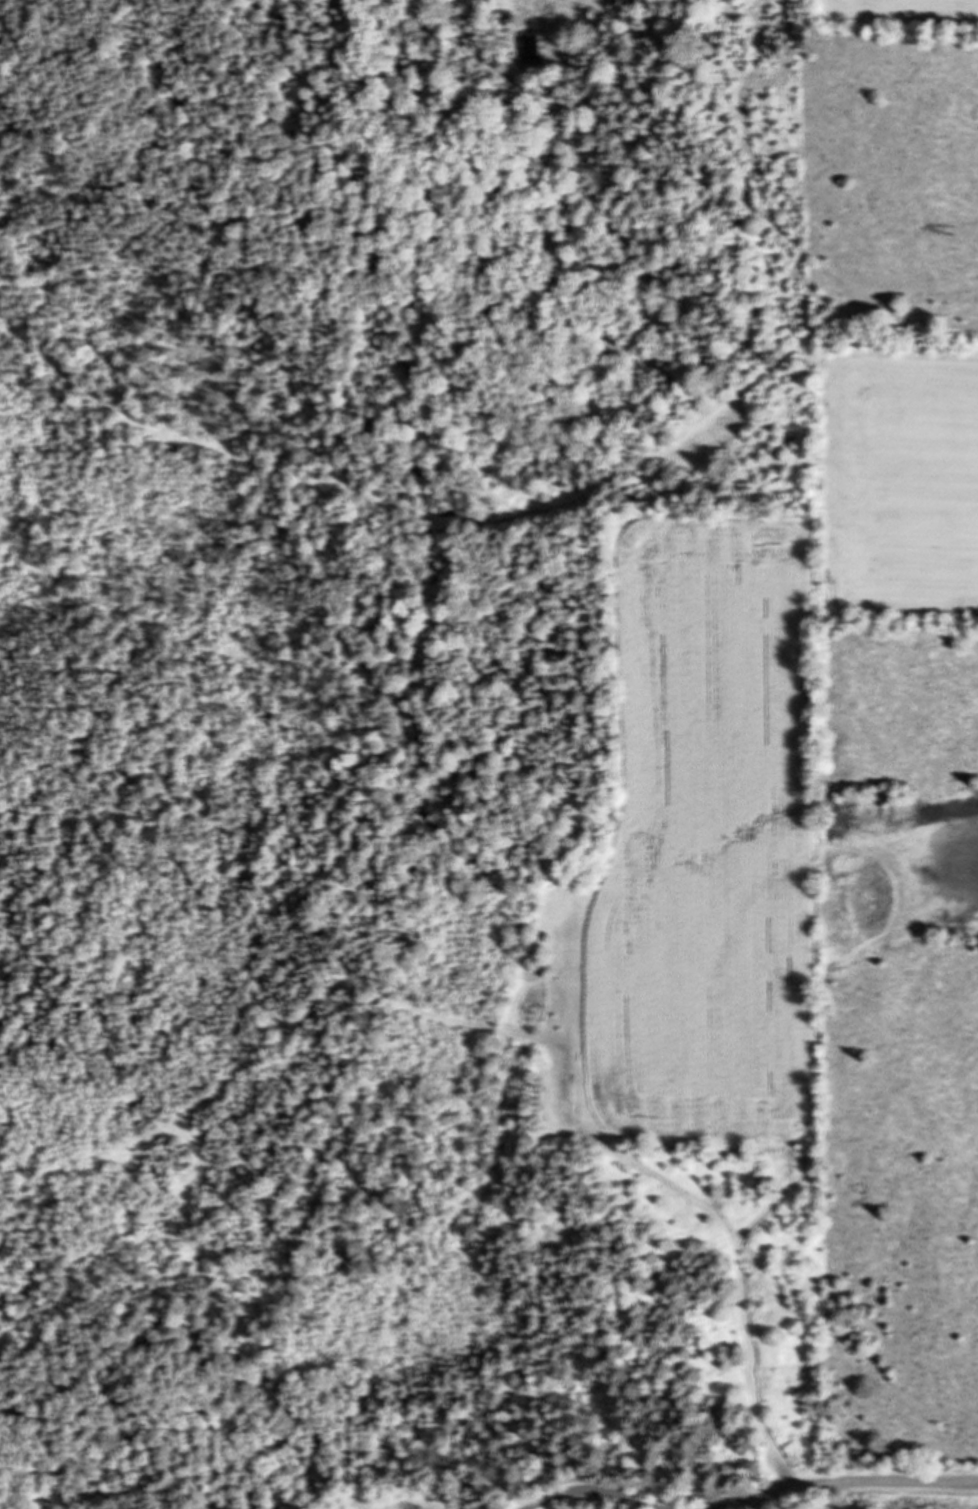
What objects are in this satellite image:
road: (859, 1483)

